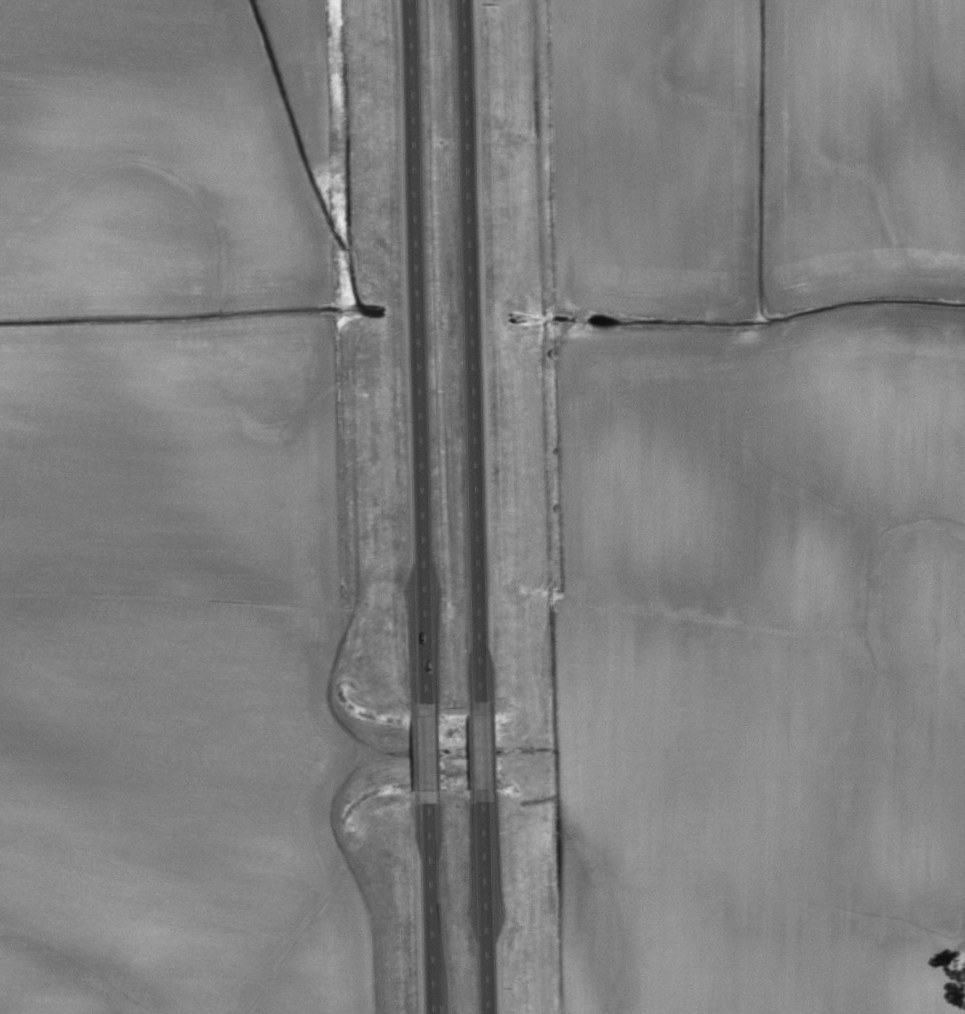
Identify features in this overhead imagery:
road: (412, 110)
road: (473, 351)
road: (423, 462)
road: (485, 753)
road: (431, 754)
road: (434, 906)
road: (489, 908)
road: (436, 1011)

